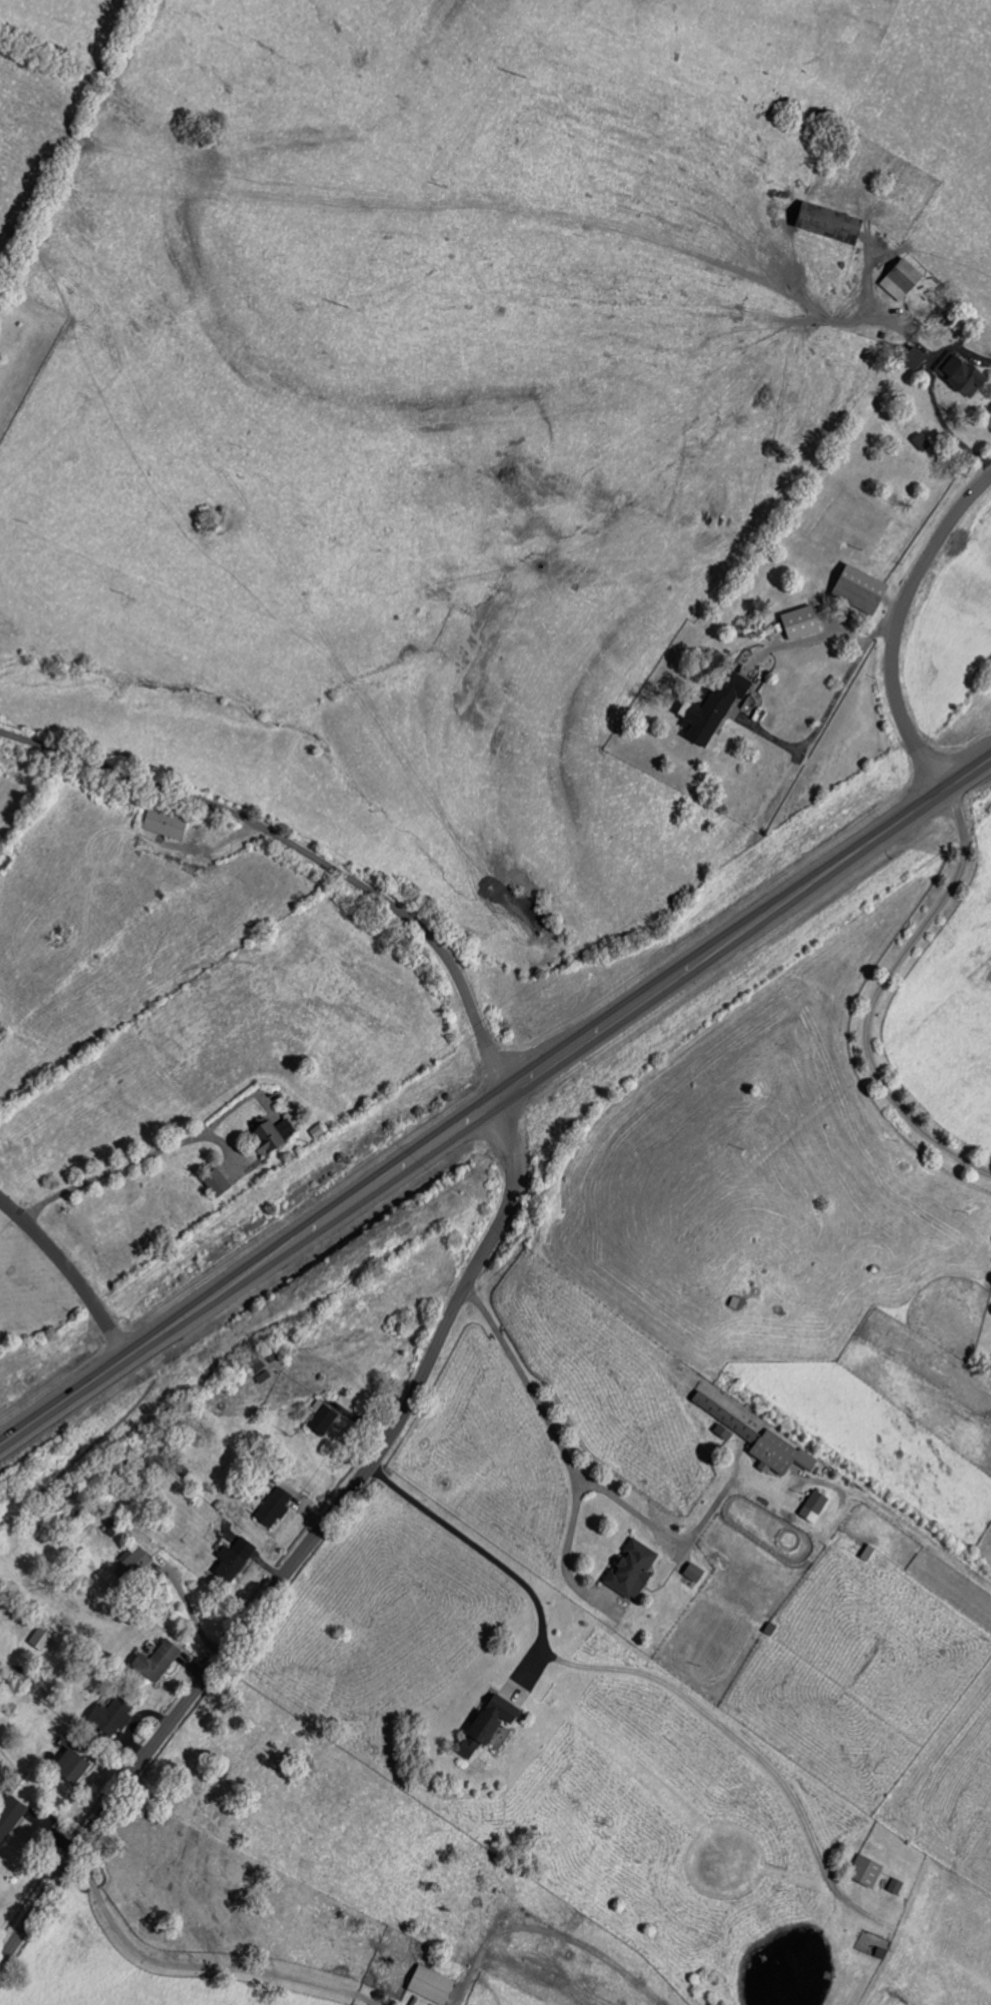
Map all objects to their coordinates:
building: (823, 223)
building: (898, 279)
building: (909, 357)
building: (959, 377)
road: (931, 391)
building: (856, 590)
building: (797, 624)
road: (898, 627)
building: (710, 708)
road: (828, 712)
building: (163, 825)
road: (303, 853)
road: (875, 997)
road: (495, 1102)
building: (271, 1135)
road: (142, 1155)
building: (213, 1183)
road: (71, 1273)
road: (521, 1384)
building: (718, 1413)
building: (321, 1421)
building: (721, 1433)
building: (777, 1455)
building: (811, 1508)
building: (273, 1509)
road: (654, 1531)
road: (566, 1544)
road: (481, 1548)
road: (300, 1552)
building: (231, 1561)
building: (134, 1562)
building: (629, 1571)
road: (188, 1606)
building: (40, 1639)
building: (154, 1663)
building: (109, 1718)
building: (484, 1726)
road: (740, 1742)
building: (68, 1768)
building: (9, 1817)
building: (864, 1872)
building: (894, 1887)
road: (198, 1964)
building: (428, 1985)
road: (373, 2004)
road: (374, 2004)

